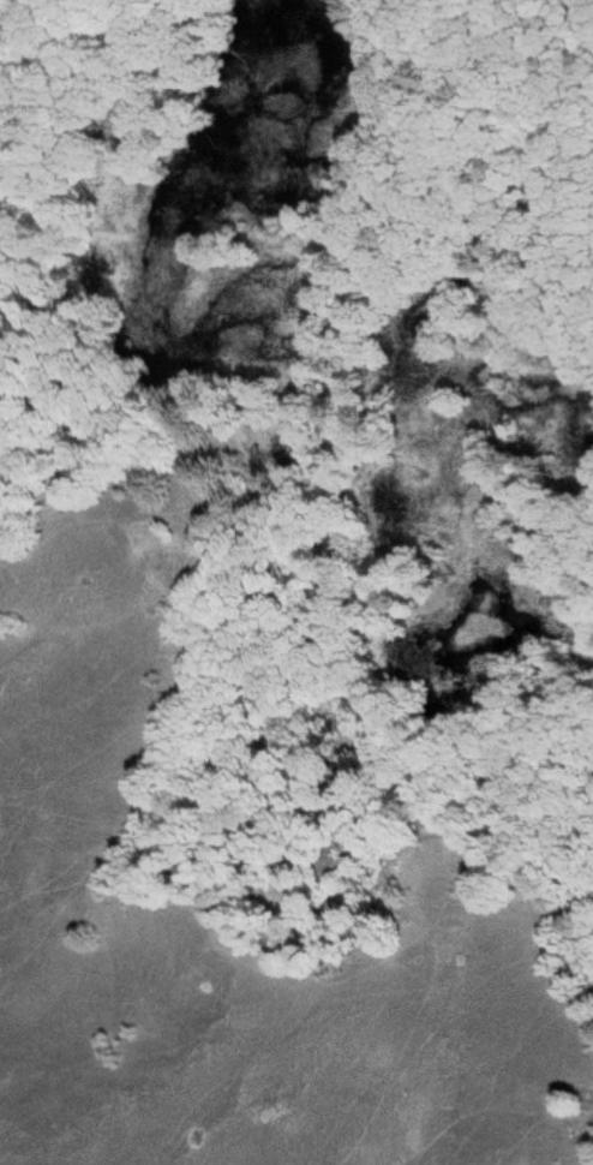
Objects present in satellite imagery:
park: (296, 582)

